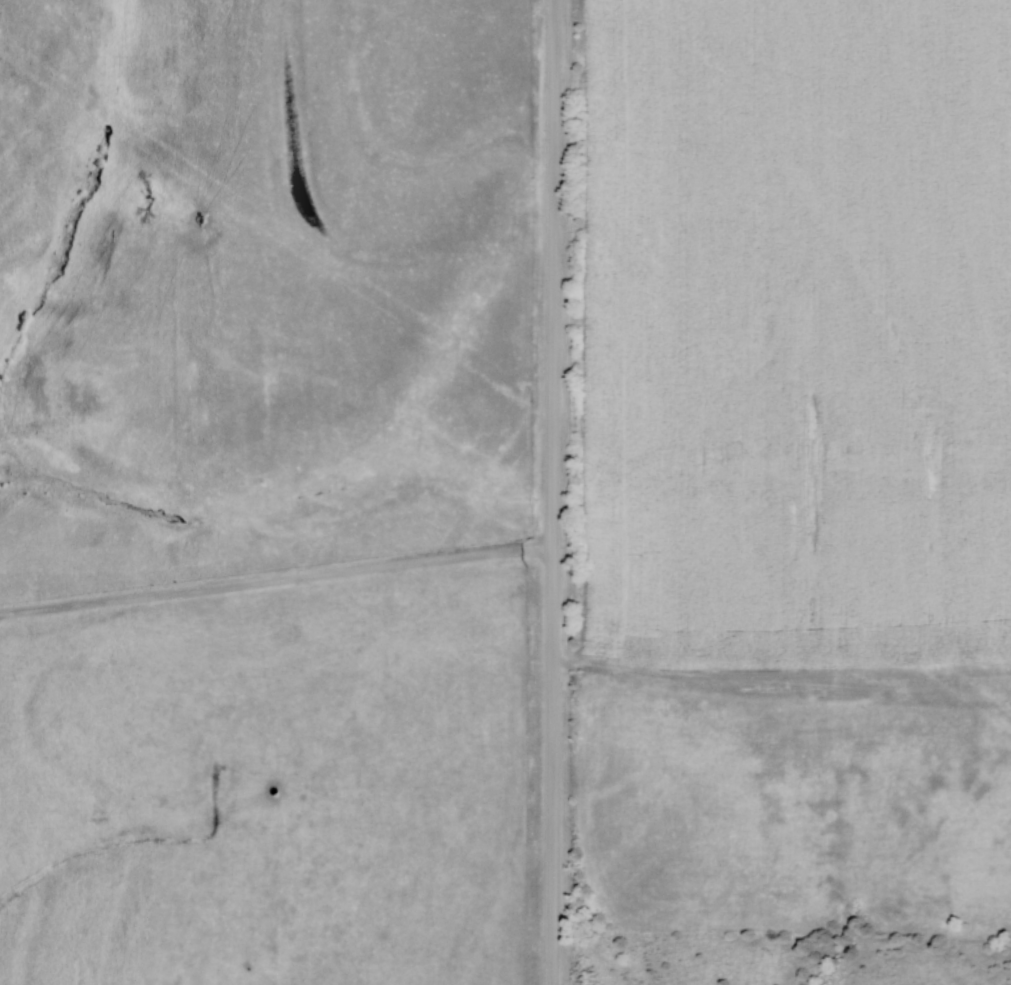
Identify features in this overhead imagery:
road: (549, 492)
road: (275, 583)

